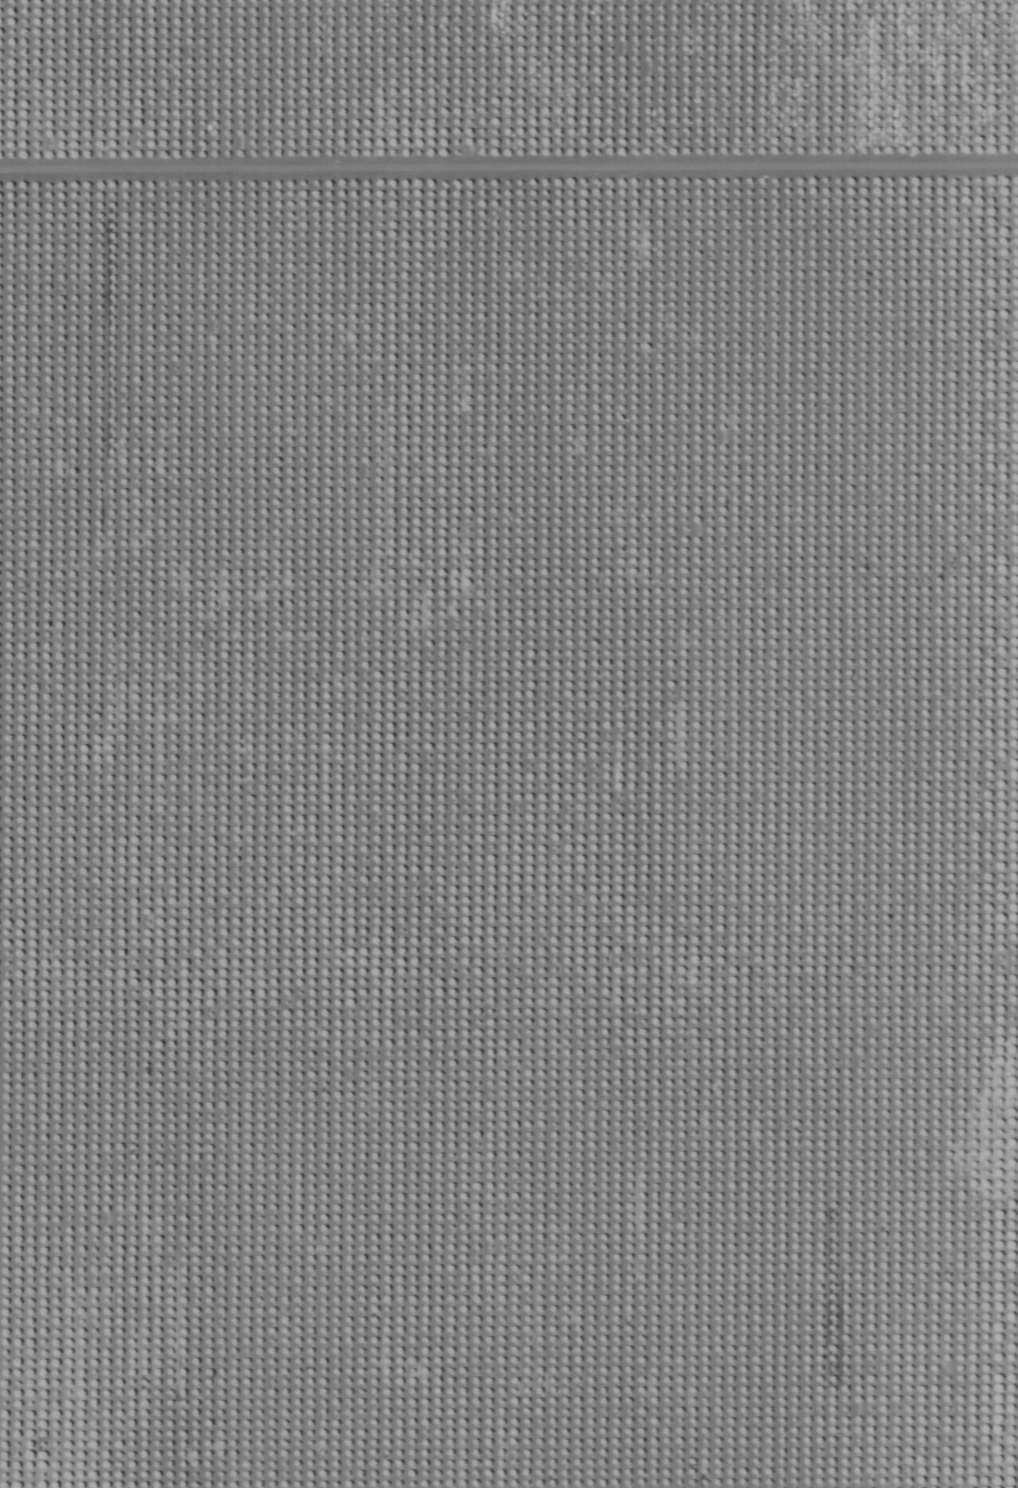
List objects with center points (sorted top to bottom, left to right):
crop: (509, 744)

